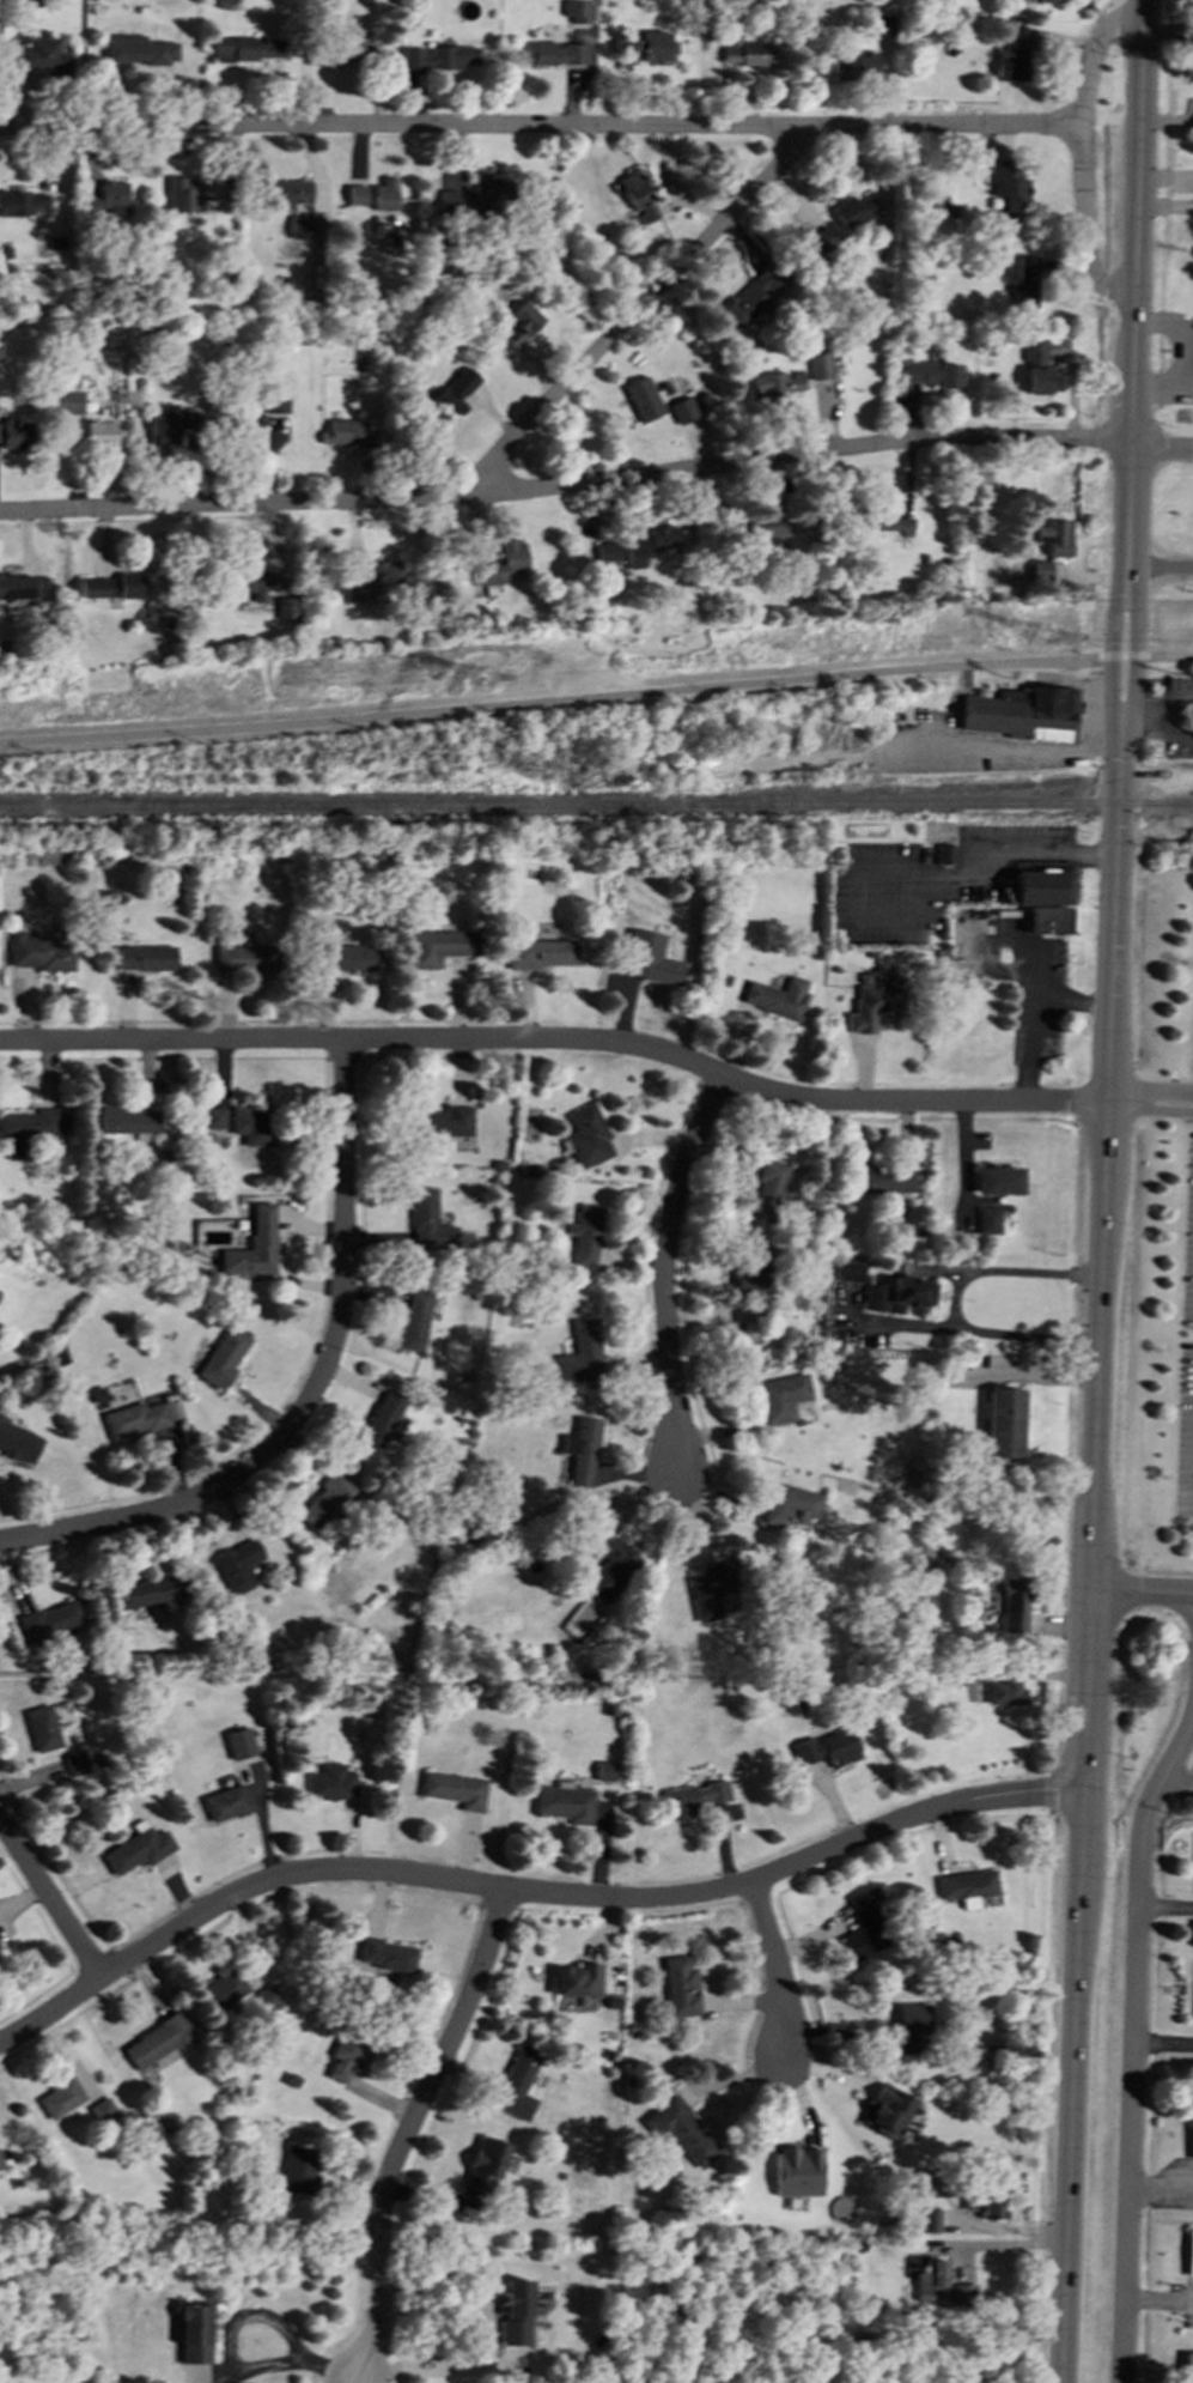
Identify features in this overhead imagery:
building: (1049, 0)
building: (30, 2)
building: (577, 10)
building: (882, 25)
building: (647, 46)
building: (139, 49)
building: (250, 51)
building: (340, 53)
building: (554, 53)
building: (748, 53)
building: (1012, 54)
building: (39, 55)
building: (857, 67)
road: (540, 127)
road: (1140, 145)
road: (1081, 156)
building: (1009, 189)
building: (286, 190)
building: (194, 192)
building: (355, 194)
building: (385, 194)
building: (637, 195)
building: (475, 196)
building: (106, 200)
building: (22, 201)
building: (854, 210)
building: (300, 226)
building: (820, 241)
building: (1024, 284)
building: (753, 297)
road: (639, 310)
building: (521, 323)
building: (820, 365)
building: (1036, 366)
building: (930, 374)
building: (778, 382)
building: (454, 393)
building: (643, 399)
building: (68, 402)
building: (276, 402)
building: (682, 411)
building: (172, 424)
building: (251, 428)
building: (347, 431)
building: (101, 432)
building: (17, 433)
road: (1128, 439)
road: (1159, 450)
road: (566, 487)
building: (888, 521)
building: (771, 527)
building: (1054, 538)
building: (650, 544)
building: (607, 551)
building: (505, 564)
building: (373, 581)
building: (254, 582)
building: (16, 586)
building: (112, 586)
building: (42, 587)
building: (291, 607)
power tower: (1049, 637)
road: (1109, 655)
road: (1133, 655)
road: (1134, 655)
road: (1168, 655)
road: (1109, 656)
road: (1122, 656)
power tower: (491, 678)
road: (550, 701)
building: (1024, 711)
road: (1157, 711)
road: (1014, 748)
railway: (596, 807)
road: (981, 857)
building: (987, 942)
building: (440, 946)
building: (39, 952)
building: (541, 953)
building: (347, 957)
building: (146, 958)
building: (245, 958)
building: (649, 958)
building: (778, 996)
building: (872, 1003)
road: (556, 1039)
road: (1149, 1103)
building: (214, 1117)
building: (126, 1120)
building: (445, 1121)
building: (252, 1123)
building: (29, 1130)
building: (586, 1136)
building: (884, 1180)
building: (999, 1180)
building: (768, 1189)
building: (988, 1218)
building: (428, 1223)
building: (585, 1235)
building: (252, 1245)
road: (664, 1267)
building: (847, 1269)
building: (753, 1280)
building: (899, 1294)
road: (955, 1303)
building: (414, 1320)
building: (580, 1353)
building: (223, 1357)
road: (311, 1394)
building: (780, 1397)
building: (139, 1418)
building: (382, 1418)
building: (1003, 1421)
building: (18, 1442)
building: (582, 1451)
building: (328, 1499)
building: (791, 1506)
road: (1090, 1551)
building: (237, 1565)
building: (610, 1565)
building: (711, 1589)
building: (158, 1590)
road: (1140, 1591)
building: (1011, 1606)
building: (50, 1620)
building: (1004, 1692)
building: (43, 1728)
building: (239, 1744)
building: (828, 1747)
building: (75, 1763)
building: (604, 1771)
road: (1177, 1781)
building: (331, 1782)
building: (454, 1789)
building: (693, 1797)
building: (226, 1802)
building: (565, 1802)
building: (139, 1848)
building: (967, 1886)
road: (524, 1892)
road: (50, 1899)
road: (1165, 1909)
building: (865, 1926)
building: (388, 1954)
road: (778, 1969)
building: (578, 1979)
building: (680, 1987)
building: (225, 1988)
building: (267, 1999)
building: (908, 2025)
building: (157, 2039)
road: (1163, 2043)
road: (1133, 2047)
building: (347, 2056)
building: (518, 2082)
building: (61, 2097)
building: (887, 2110)
building: (104, 2111)
road: (409, 2129)
building: (682, 2130)
building: (1, 2164)
building: (485, 2165)
building: (299, 2170)
building: (797, 2171)
road: (1161, 2187)
building: (985, 2205)
building: (929, 2220)
building: (1189, 2252)
building: (931, 2281)
road: (1159, 2300)
building: (517, 2312)
building: (197, 2334)
road: (230, 2355)
building: (1187, 2367)
road: (434, 2370)

